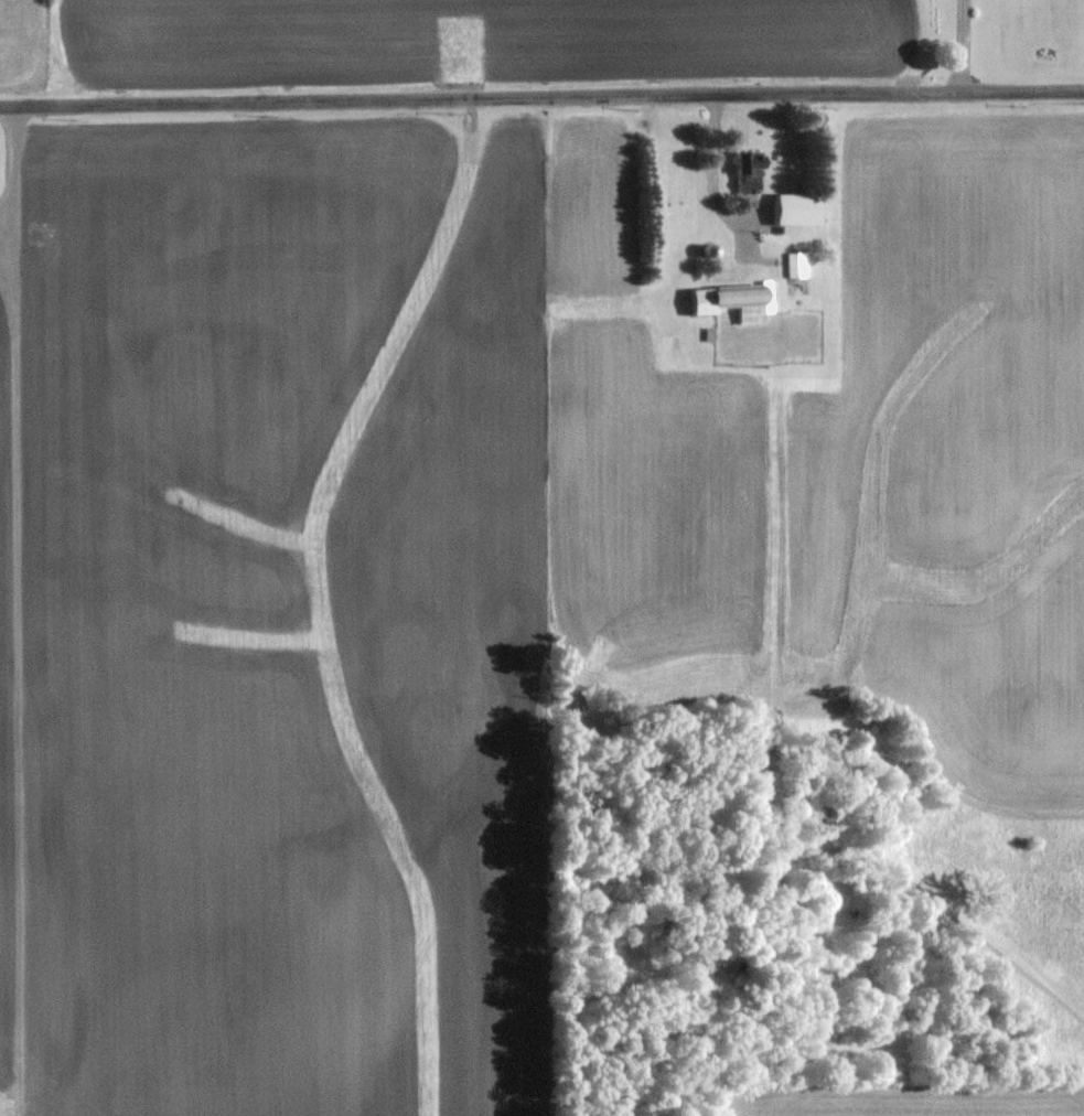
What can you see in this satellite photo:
road: (960, 46)
road: (541, 96)
building: (750, 171)
road: (24, 184)
building: (796, 208)
building: (11, 235)
building: (796, 264)
building: (734, 299)

